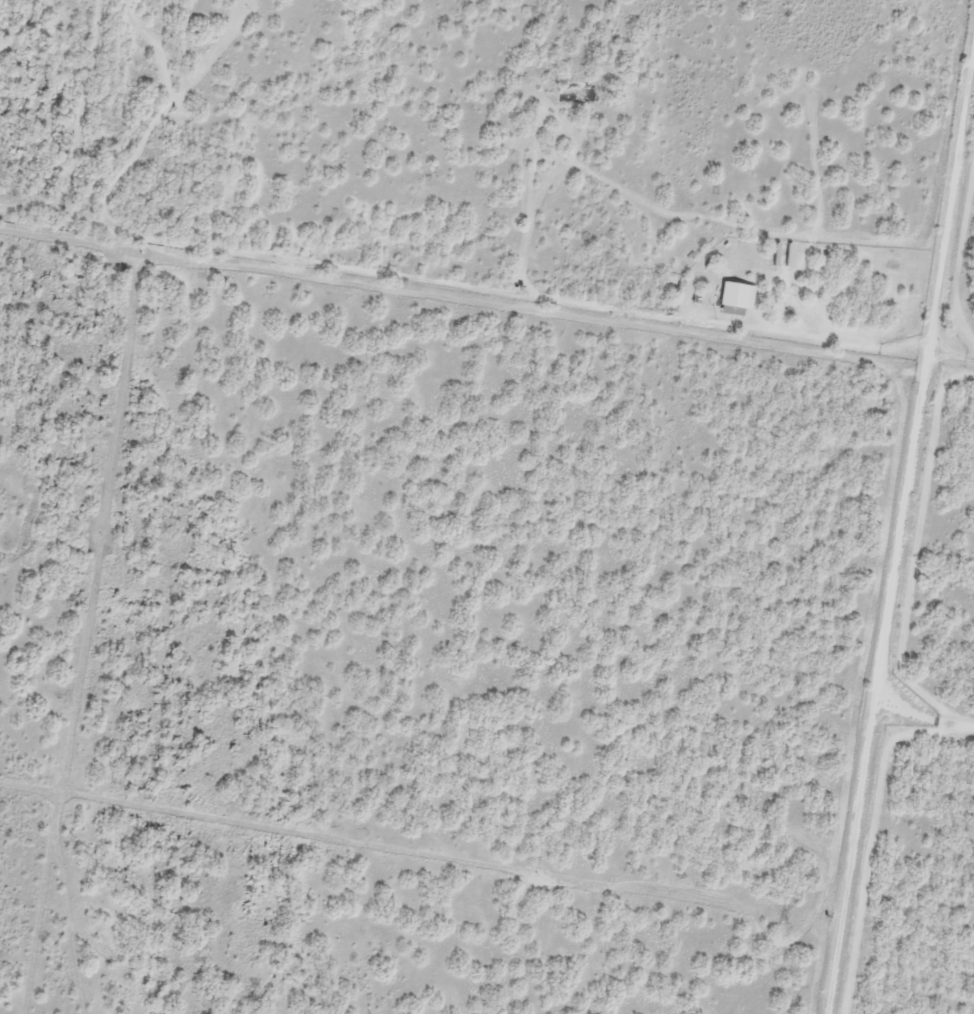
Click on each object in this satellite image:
building: (736, 299)
road: (486, 320)
road: (905, 606)

